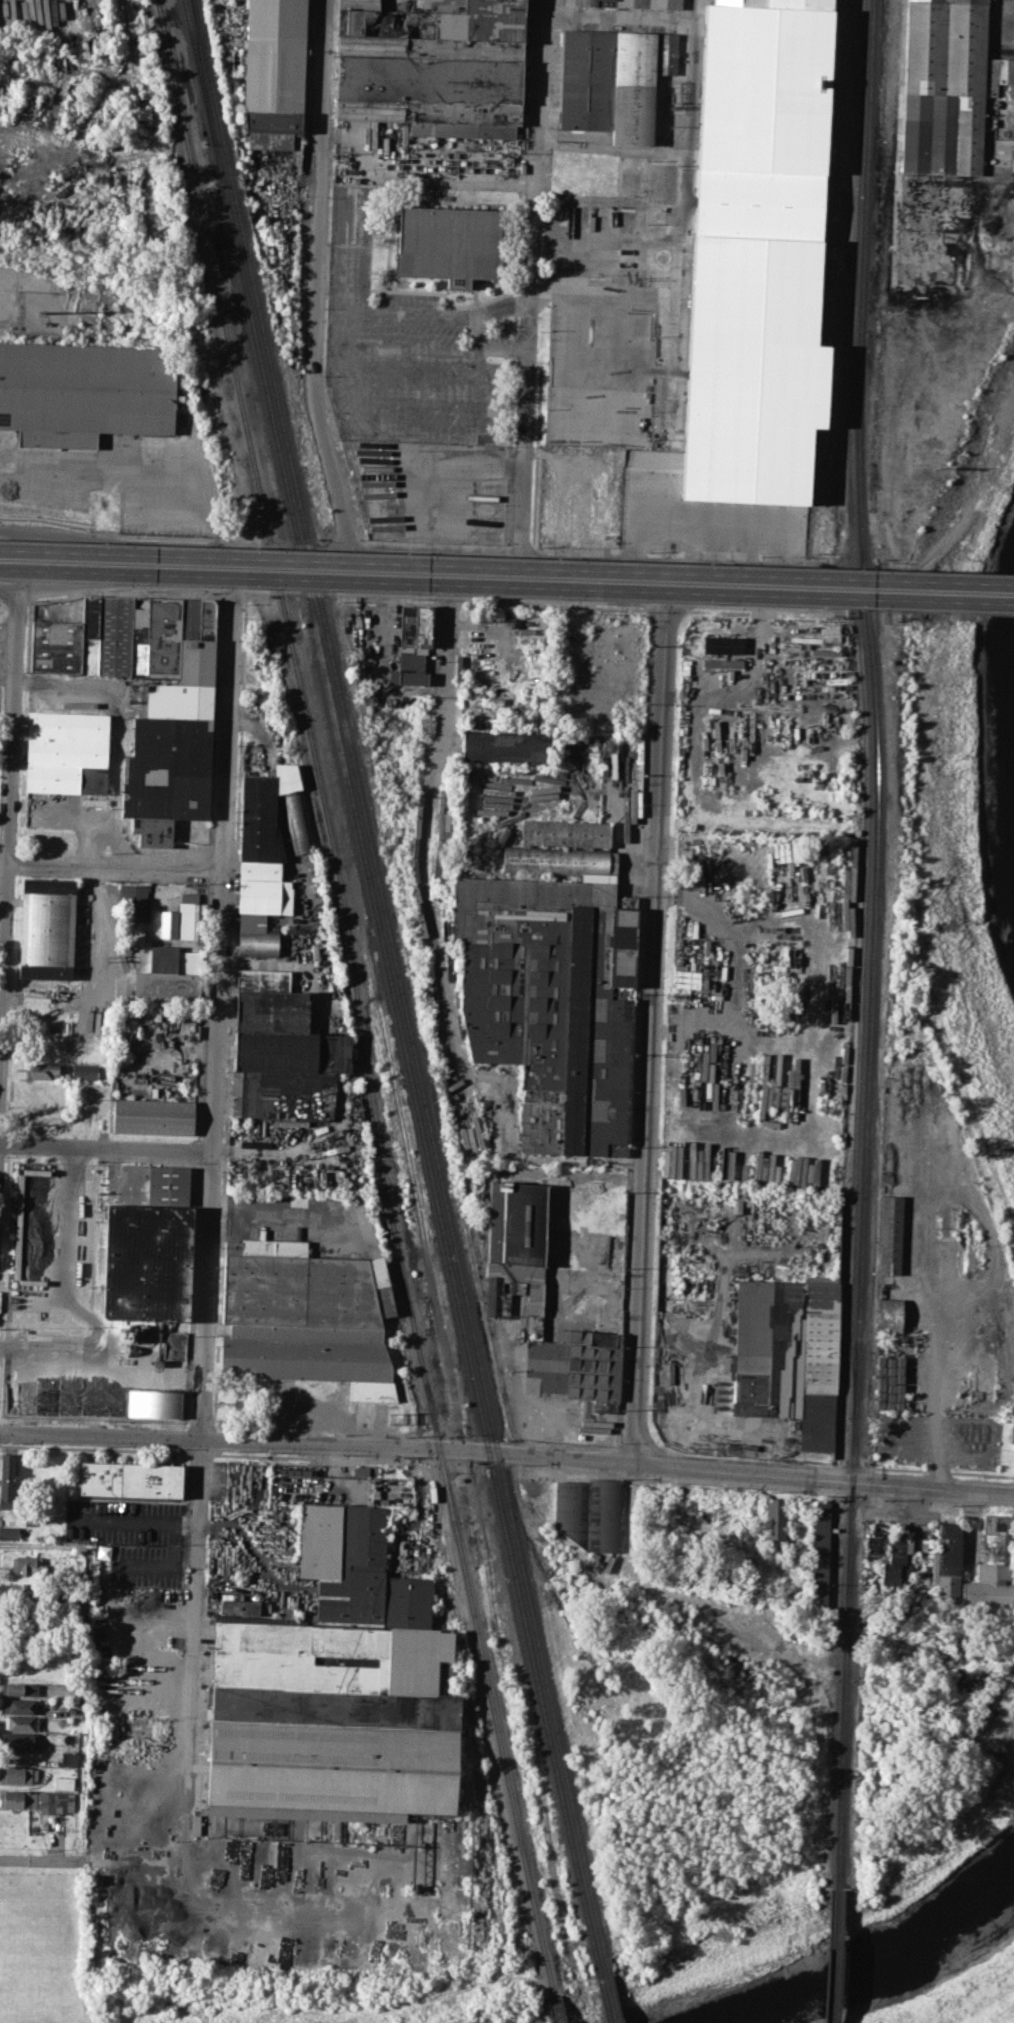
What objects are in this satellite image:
building: (629, 3)
road: (1002, 9)
building: (435, 67)
railway: (203, 72)
building: (614, 79)
building: (946, 85)
building: (273, 91)
building: (584, 172)
building: (450, 244)
building: (756, 254)
road: (532, 288)
building: (84, 391)
road: (324, 439)
road: (111, 476)
parking lot: (124, 480)
road: (113, 533)
road: (118, 553)
road: (507, 560)
road: (221, 566)
road: (238, 569)
road: (126, 578)
road: (507, 581)
road: (8, 590)
road: (123, 591)
road: (236, 591)
road: (2, 599)
road: (16, 600)
building: (724, 643)
building: (411, 647)
parking lot: (2, 650)
building: (723, 667)
road: (448, 670)
road: (7, 675)
railway: (864, 688)
building: (148, 698)
road: (12, 727)
road: (230, 736)
building: (506, 747)
building: (67, 751)
parking lot: (69, 812)
building: (569, 833)
building: (267, 855)
building: (565, 862)
road: (115, 868)
building: (133, 901)
building: (189, 915)
building: (47, 928)
road: (4, 944)
railway: (874, 945)
building: (169, 976)
railway: (399, 978)
railway: (390, 979)
railway: (355, 997)
building: (552, 1003)
road: (217, 1013)
building: (187, 1015)
building: (283, 1050)
building: (45, 1069)
building: (85, 1070)
building: (44, 1088)
building: (153, 1116)
road: (106, 1149)
road: (642, 1167)
building: (36, 1224)
building: (890, 1234)
building: (147, 1242)
building: (516, 1247)
building: (33, 1254)
building: (32, 1273)
road: (99, 1284)
building: (32, 1291)
road: (206, 1296)
building: (889, 1314)
building: (306, 1316)
building: (788, 1354)
building: (574, 1365)
road: (100, 1370)
building: (155, 1404)
building: (1012, 1432)
road: (507, 1453)
building: (129, 1479)
building: (7, 1480)
building: (590, 1513)
building: (6, 1514)
road: (139, 1518)
building: (775, 1526)
building: (9, 1533)
parking lot: (134, 1541)
building: (821, 1557)
building: (898, 1557)
building: (947, 1558)
building: (29, 1564)
building: (994, 1564)
building: (27, 1591)
building: (238, 1606)
building: (76, 1614)
building: (29, 1623)
road: (195, 1645)
road: (86, 1659)
building: (735, 1662)
building: (748, 1675)
building: (781, 1675)
building: (19, 1688)
building: (335, 1691)
building: (18, 1705)
building: (21, 1722)
building: (19, 1741)
building: (69, 1757)
building: (17, 1774)
building: (64, 1782)
building: (17, 1799)
building: (55, 1803)
road: (222, 1853)
road: (335, 1858)
road: (39, 1859)
railway: (834, 1957)
river: (888, 1967)
park: (174, 1976)
railway: (610, 1990)
railway: (601, 1991)
railway: (554, 2009)

